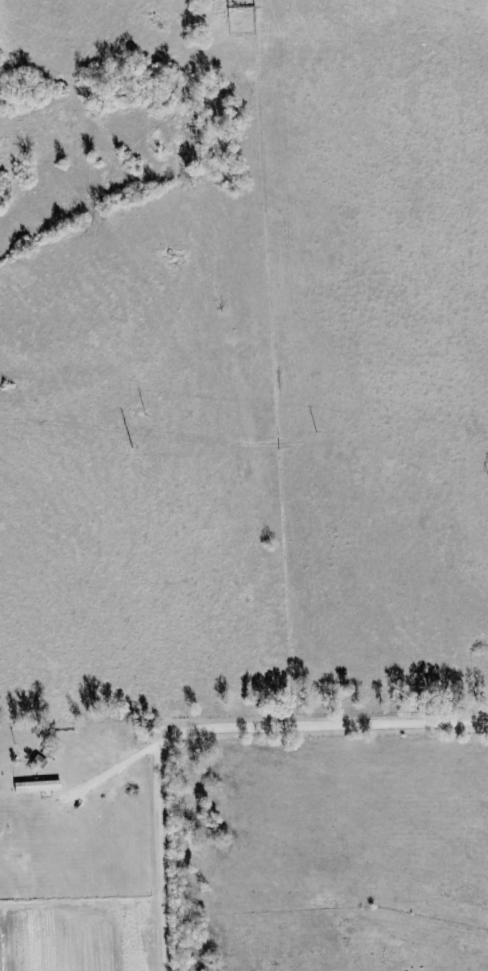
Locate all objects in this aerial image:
power tower: (131, 450)
road: (209, 724)
building: (40, 785)

